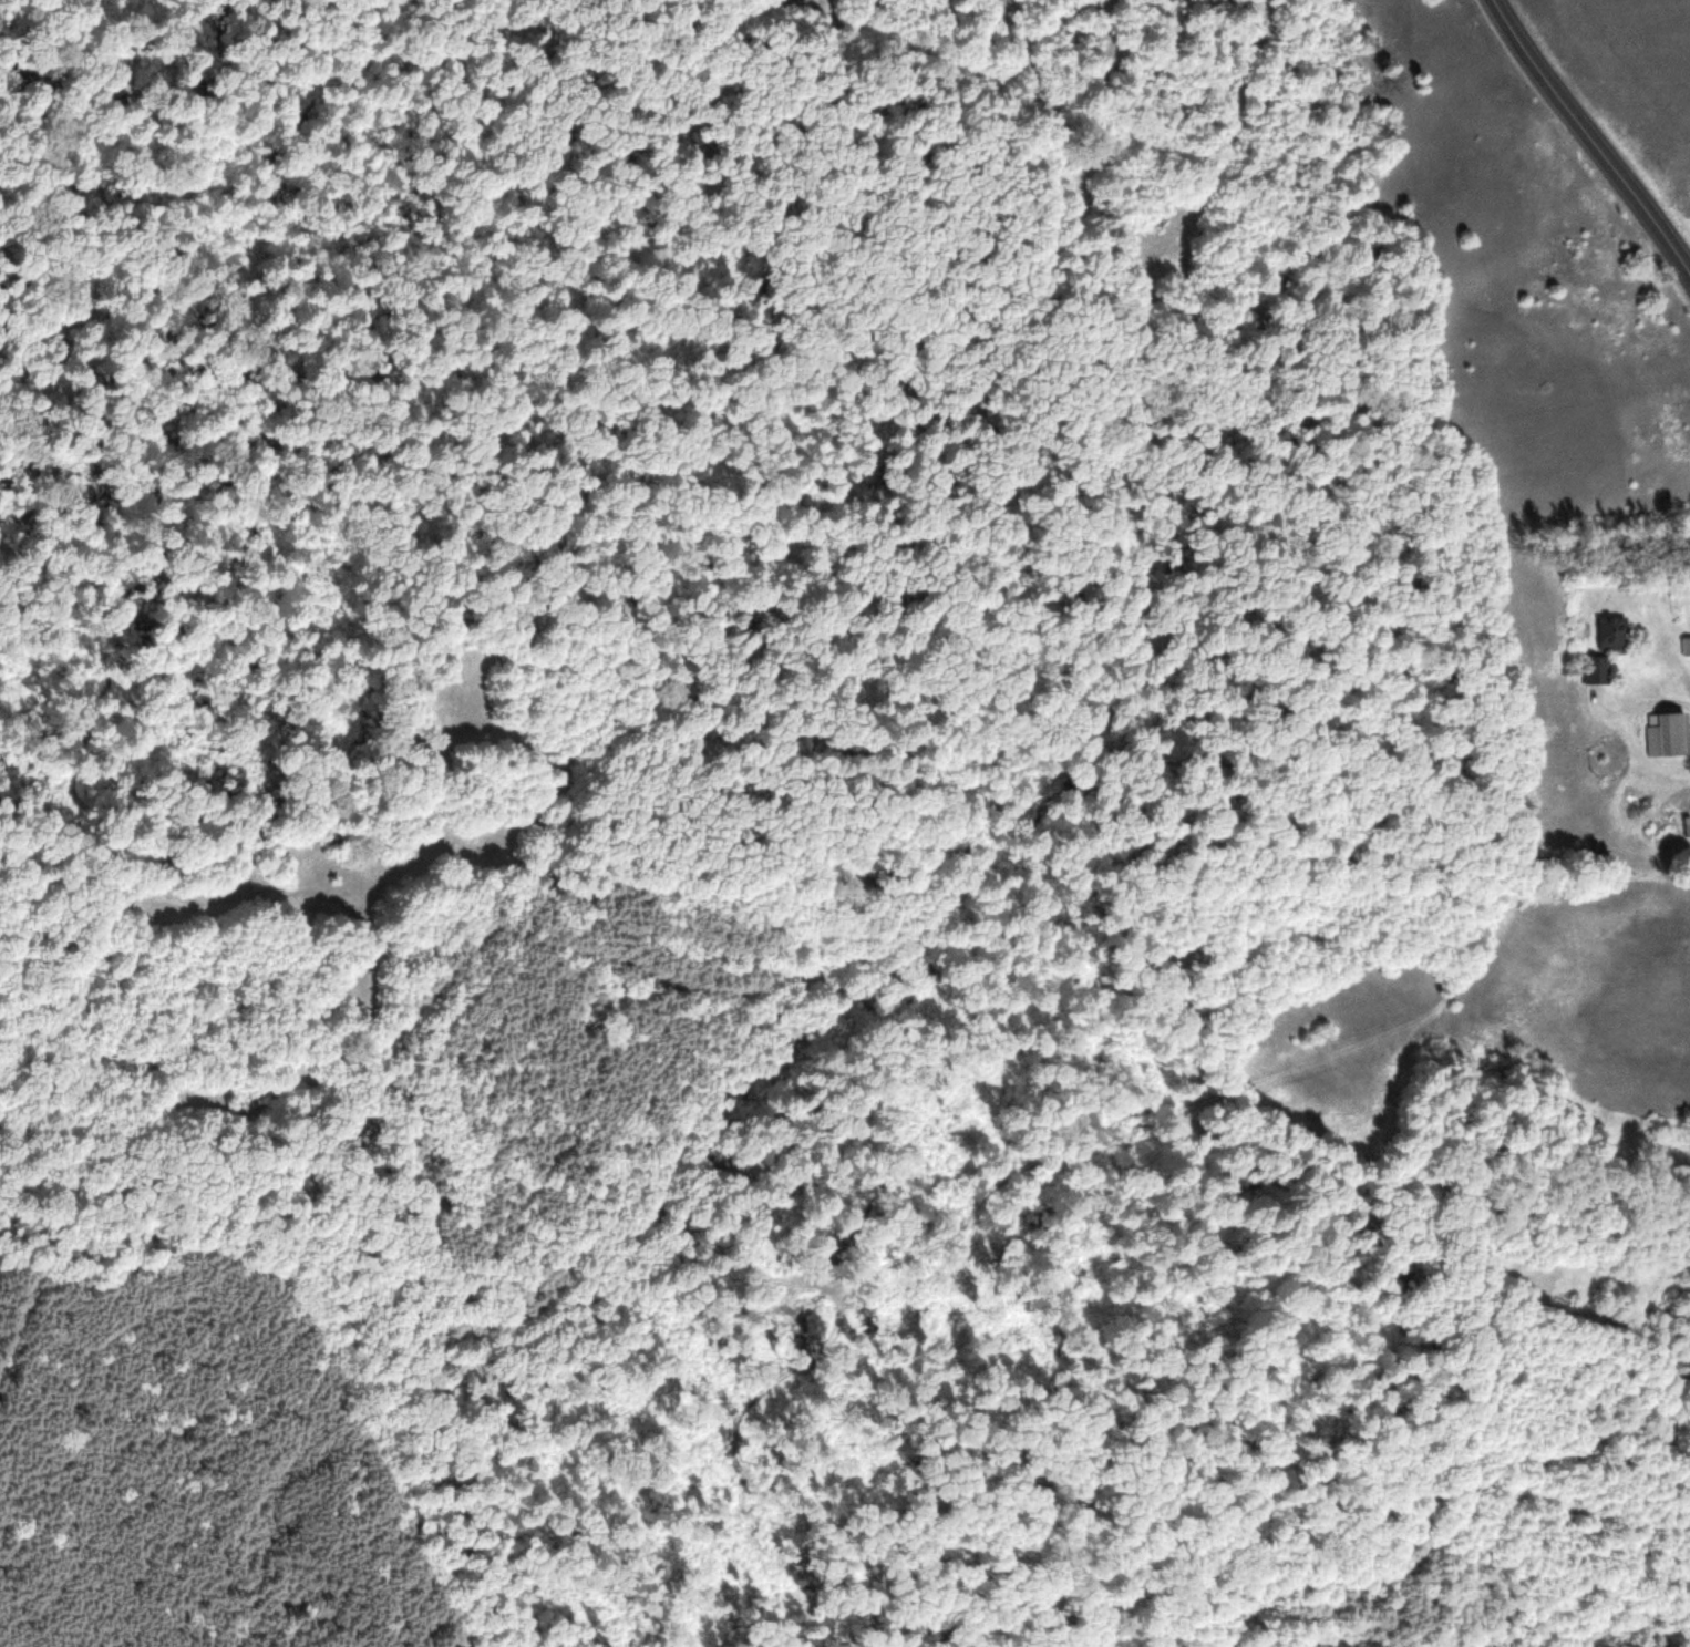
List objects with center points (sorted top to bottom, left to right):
road: (1588, 140)
building: (1612, 631)
building: (1686, 645)
building: (1668, 734)

